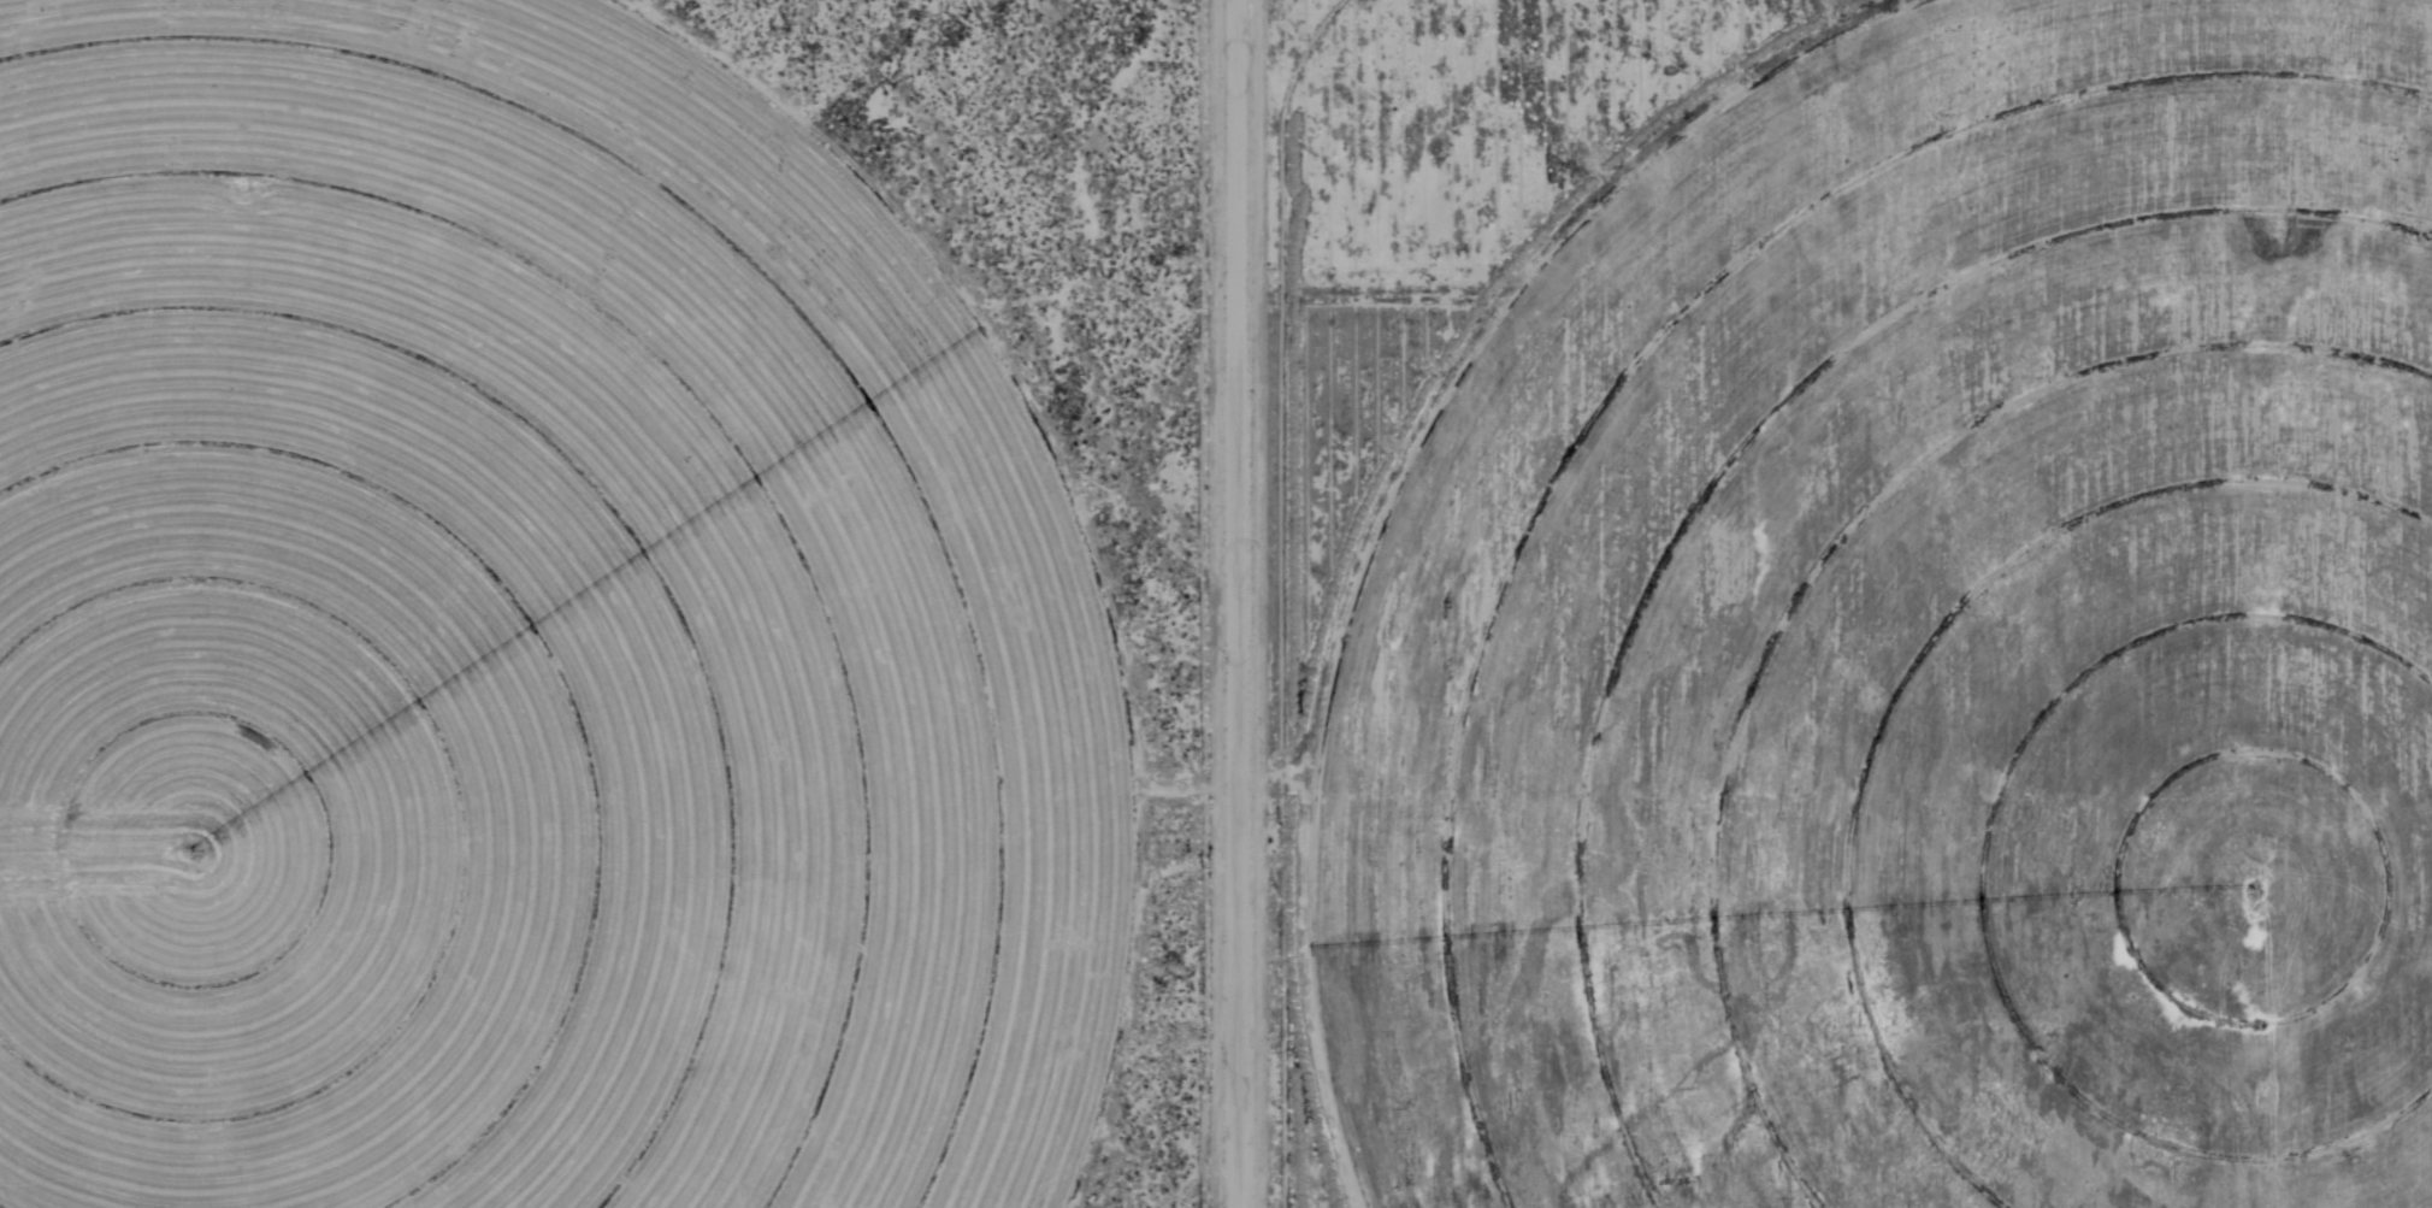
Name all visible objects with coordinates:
road: (1198, 603)
crop: (525, 637)
crop: (1922, 650)

